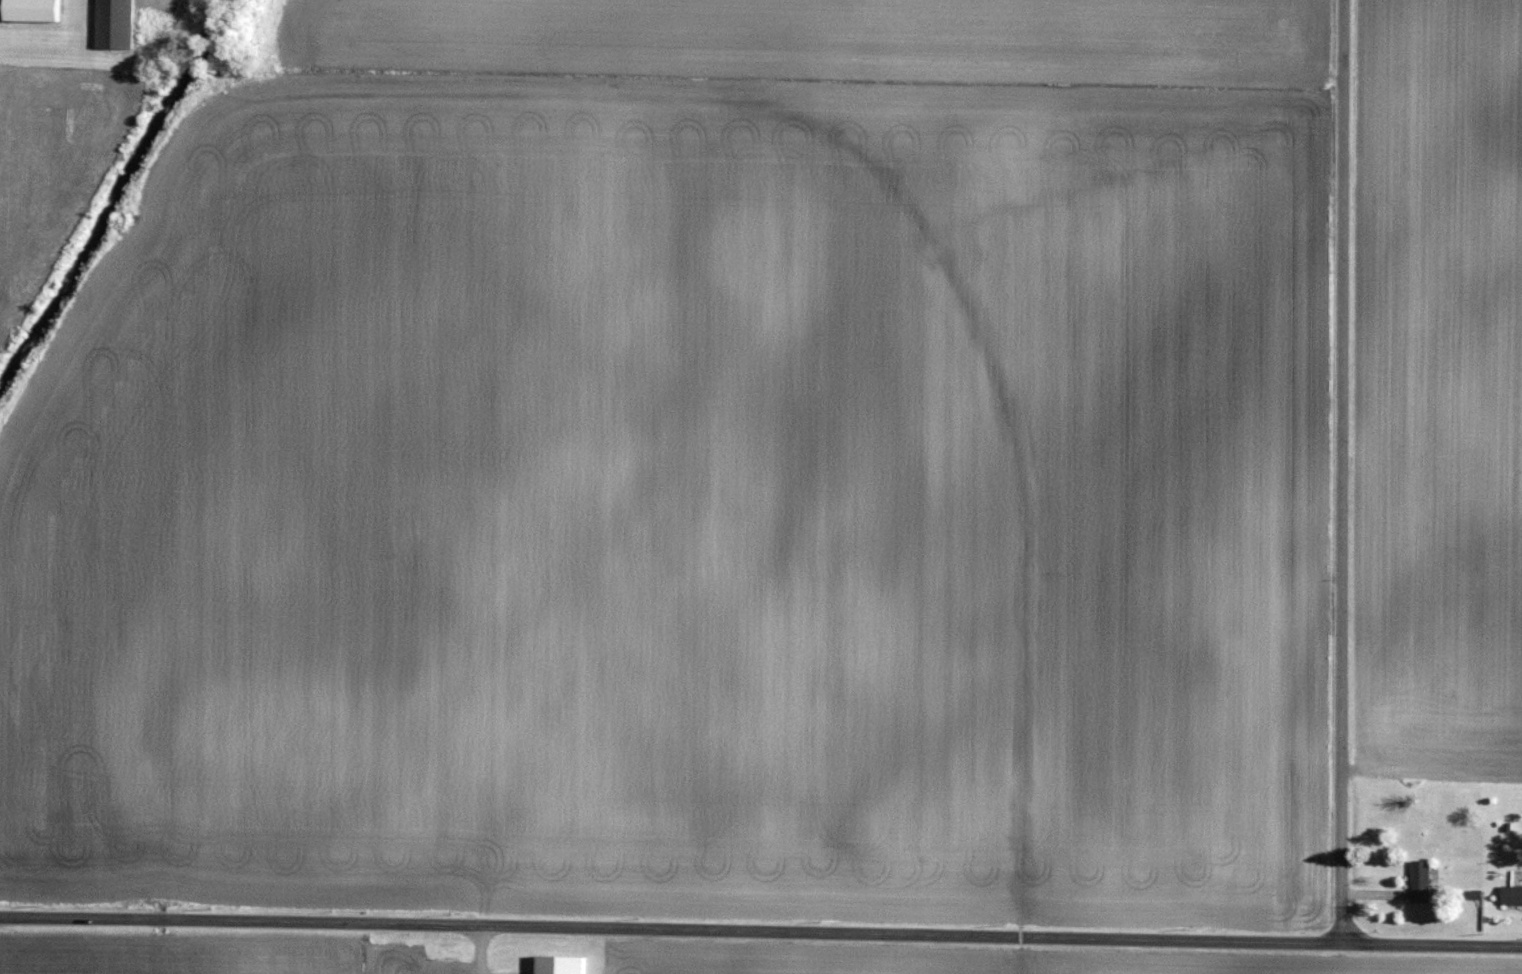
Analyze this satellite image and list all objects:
building: (30, 11)
building: (115, 23)
crop: (1437, 384)
road: (1339, 474)
road: (761, 929)
building: (564, 963)

